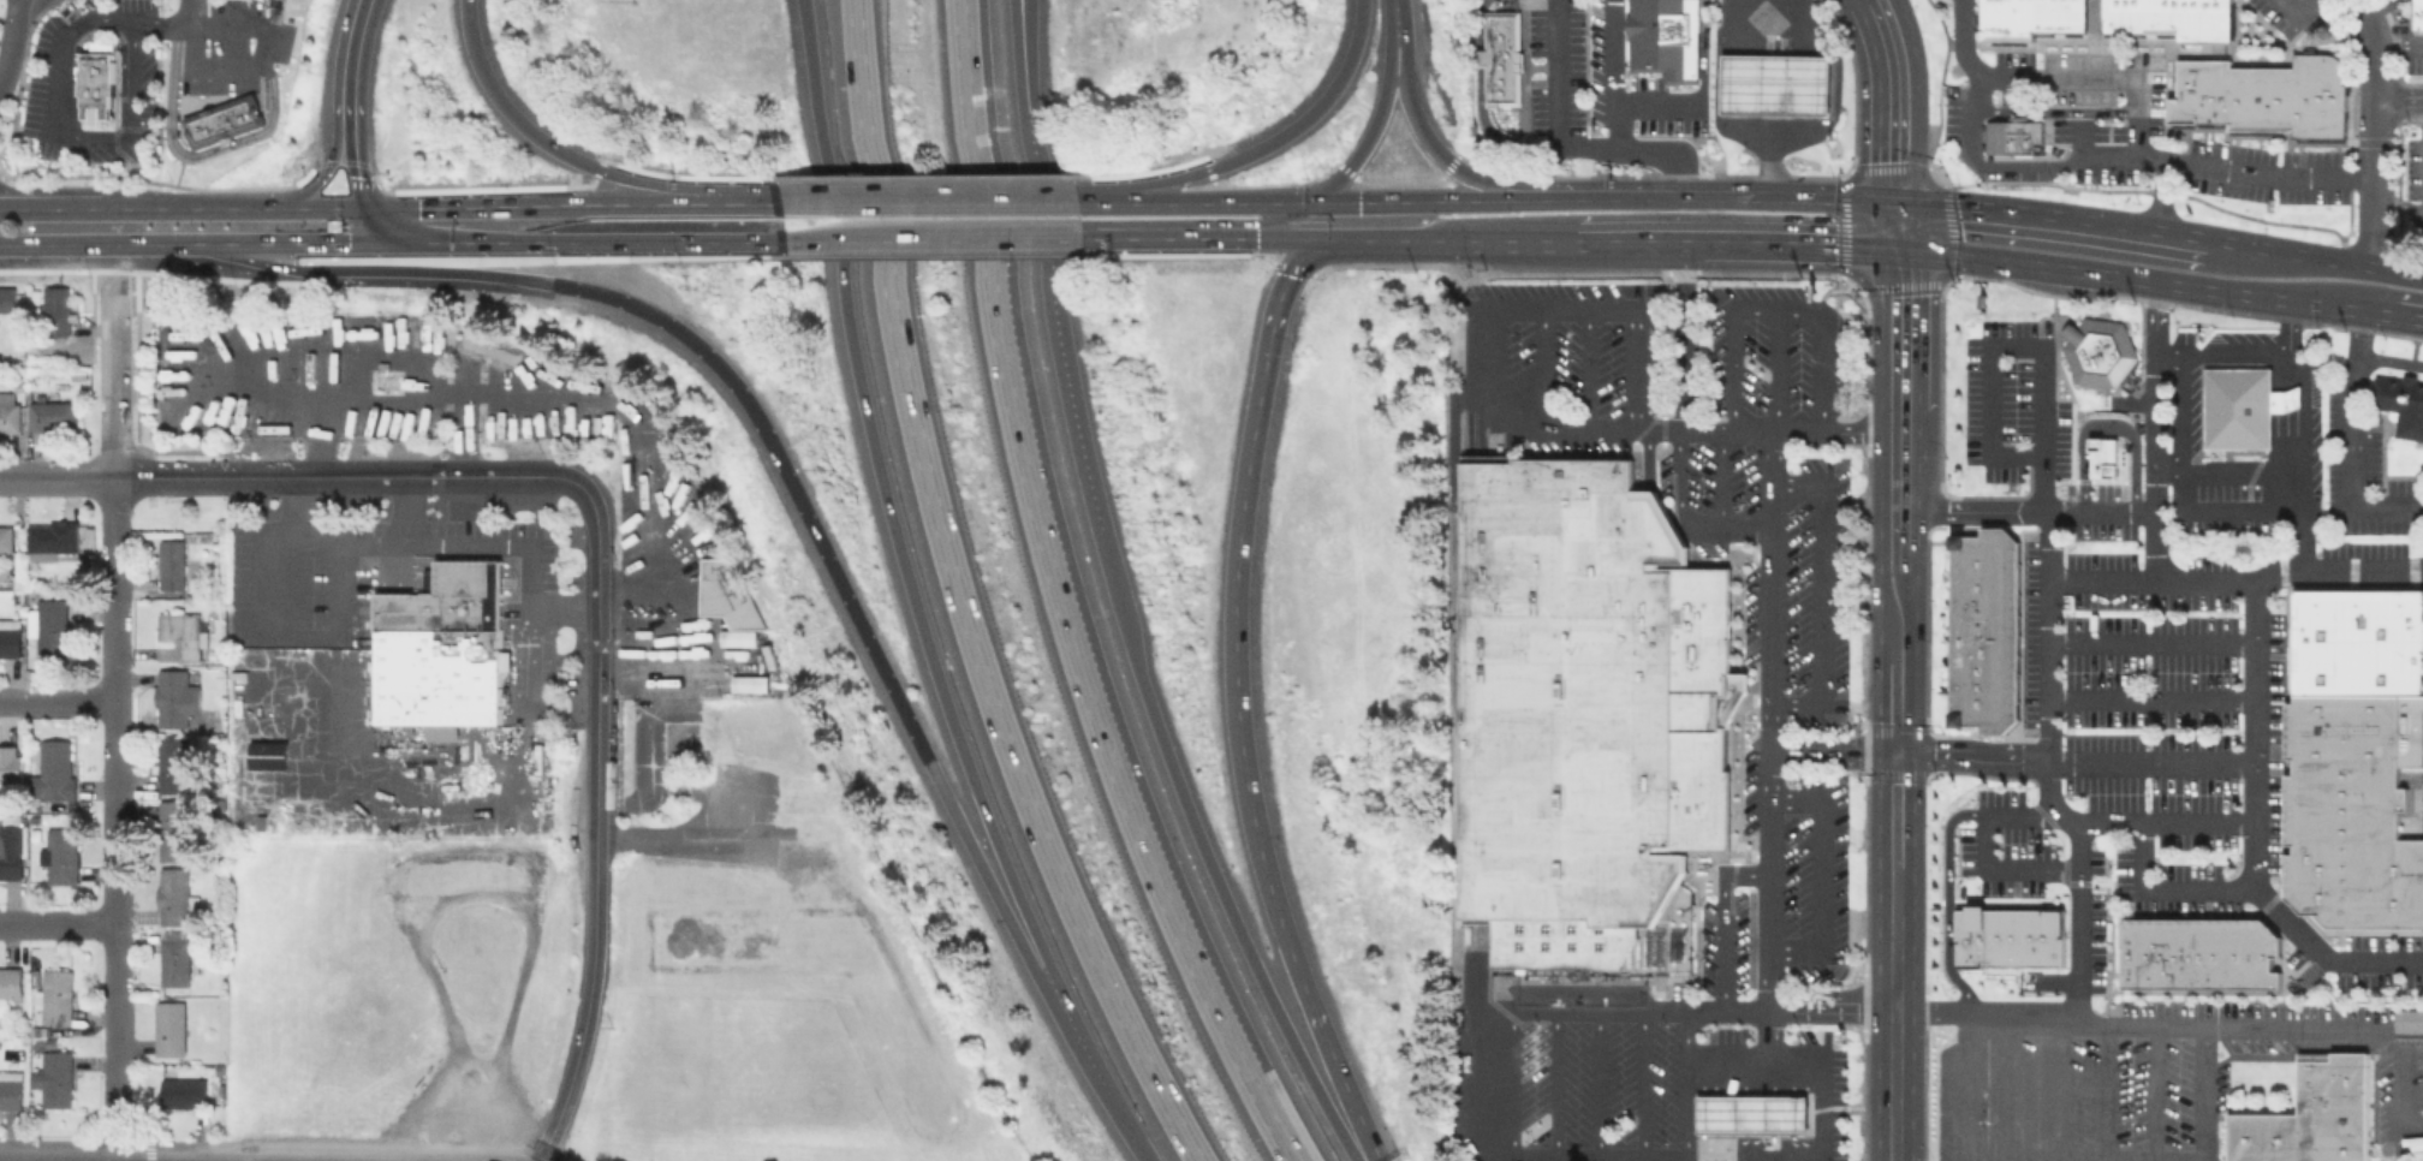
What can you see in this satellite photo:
road: (1862, 1)
road: (1013, 4)
road: (1016, 4)
road: (2299, 7)
building: (2418, 13)
parking lot: (2273, 14)
road: (172, 17)
building: (2030, 17)
building: (2169, 18)
road: (1480, 23)
road: (1395, 24)
road: (11, 35)
building: (1662, 37)
road: (2371, 37)
road: (2398, 40)
road: (1353, 43)
road: (1480, 56)
building: (1499, 56)
road: (355, 60)
road: (258, 62)
parking lot: (2413, 62)
road: (1615, 72)
road: (2094, 76)
building: (1774, 83)
gas station: (1774, 83)
building: (95, 85)
road: (958, 90)
road: (1769, 94)
building: (2266, 94)
road: (1915, 99)
road: (2399, 99)
road: (1880, 100)
road: (1661, 101)
parking lot: (2091, 103)
road: (501, 105)
road: (2054, 111)
parking lot: (1951, 118)
building: (222, 120)
road: (61, 130)
road: (1370, 132)
road: (2079, 132)
building: (2013, 136)
road: (1492, 137)
road: (1424, 138)
road: (1264, 142)
road: (1567, 144)
road: (2089, 154)
road: (328, 166)
road: (355, 167)
road: (2374, 169)
traffic signals: (326, 172)
parking lot: (2264, 172)
traffic signals: (357, 174)
parking lot: (2413, 184)
road: (638, 186)
road: (1127, 189)
road: (2162, 192)
road: (1689, 197)
road: (1405, 198)
road: (1193, 200)
traffic signals: (1357, 200)
traffic signals: (1881, 200)
road: (1899, 200)
traffic signals: (1917, 201)
road: (55, 202)
road: (927, 202)
road: (2398, 202)
road: (730, 203)
road: (523, 206)
road: (55, 208)
road: (238, 208)
traffic signals: (416, 208)
road: (2060, 213)
road: (1287, 218)
road: (1881, 224)
road: (1917, 225)
road: (386, 231)
road: (1171, 236)
traffic signals: (1256, 236)
road: (933, 237)
road: (1287, 237)
road: (686, 240)
road: (1447, 242)
road: (54, 243)
road: (204, 243)
traffic signals: (345, 244)
road: (357, 244)
road: (501, 244)
road: (1731, 245)
traffic signals: (1881, 248)
road: (1899, 249)
traffic signals: (1917, 250)
road: (2312, 252)
road: (381, 257)
road: (1040, 270)
road: (490, 274)
traffic signals: (1287, 275)
road: (2154, 278)
building: (6, 298)
road: (1562, 309)
road: (1774, 309)
building: (55, 310)
road: (2407, 314)
road: (1881, 326)
road: (1916, 328)
road: (1680, 337)
parking lot: (1580, 340)
road: (2016, 346)
parking lot: (1764, 349)
building: (2097, 350)
road: (2246, 352)
road: (2391, 359)
road: (1590, 369)
road: (1775, 369)
road: (1542, 370)
road: (2285, 371)
road: (109, 375)
parking lot: (2190, 394)
road: (549, 399)
road: (2285, 400)
building: (2400, 403)
building: (2242, 405)
building: (8, 412)
building: (50, 415)
road: (2106, 428)
road: (1685, 429)
road: (2354, 440)
building: (2102, 458)
road: (2181, 465)
road: (406, 475)
road: (54, 476)
road: (166, 476)
road: (790, 478)
road: (1721, 478)
road: (1880, 488)
road: (2288, 489)
parking lot: (2364, 489)
road: (1915, 490)
road: (882, 492)
road: (2148, 507)
road: (2205, 507)
road: (404, 508)
road: (1685, 517)
building: (5, 537)
building: (50, 538)
road: (441, 543)
building: (171, 564)
parking lot: (1784, 564)
road: (2255, 574)
road: (2101, 577)
road: (1233, 588)
road: (1823, 590)
building: (727, 591)
road: (597, 594)
road: (964, 600)
building: (47, 625)
building: (1986, 629)
building: (179, 635)
building: (10, 637)
road: (305, 637)
road: (2151, 639)
building: (440, 650)
road: (2047, 660)
road: (1072, 669)
parking lot: (2130, 669)
building: (749, 683)
road: (2151, 696)
building: (174, 697)
road: (55, 702)
building: (1583, 707)
road: (2256, 731)
road: (1830, 748)
road: (595, 750)
traffic signals: (1892, 752)
road: (1967, 757)
road: (2150, 758)
building: (2353, 761)
building: (172, 763)
building: (10, 766)
building: (53, 770)
road: (445, 774)
road: (1769, 781)
parking lot: (2422, 797)
road: (111, 815)
road: (2196, 818)
building: (173, 829)
building: (11, 846)
building: (60, 855)
road: (1203, 855)
road: (1946, 861)
road: (1892, 865)
road: (2001, 868)
road: (1818, 875)
road: (996, 882)
parking lot: (1782, 885)
road: (2216, 888)
building: (172, 895)
road: (594, 899)
road: (2076, 919)
road: (55, 923)
building: (2007, 936)
building: (2198, 953)
building: (173, 957)
parking lot: (2381, 960)
building: (10, 981)
building: (54, 996)
road: (1585, 1010)
road: (2040, 1016)
building: (2409, 1020)
road: (2286, 1025)
road: (1077, 1026)
building: (167, 1028)
road: (2410, 1028)
road: (1322, 1053)
road: (1821, 1059)
building: (53, 1077)
road: (567, 1078)
parking lot: (1596, 1084)
road: (1478, 1085)
road: (1510, 1085)
road: (1554, 1085)
road: (1596, 1085)
road: (1642, 1085)
road: (1686, 1085)
building: (10, 1089)
building: (180, 1090)
road: (2103, 1091)
road: (2151, 1092)
road: (2204, 1092)
building: (1751, 1112)
gas station: (1751, 1112)
road: (1125, 1114)
building: (2310, 1115)
road: (1278, 1145)
building: (2415, 1145)
road: (1147, 1149)
road: (114, 1157)
road: (255, 1157)
road: (315, 1159)

